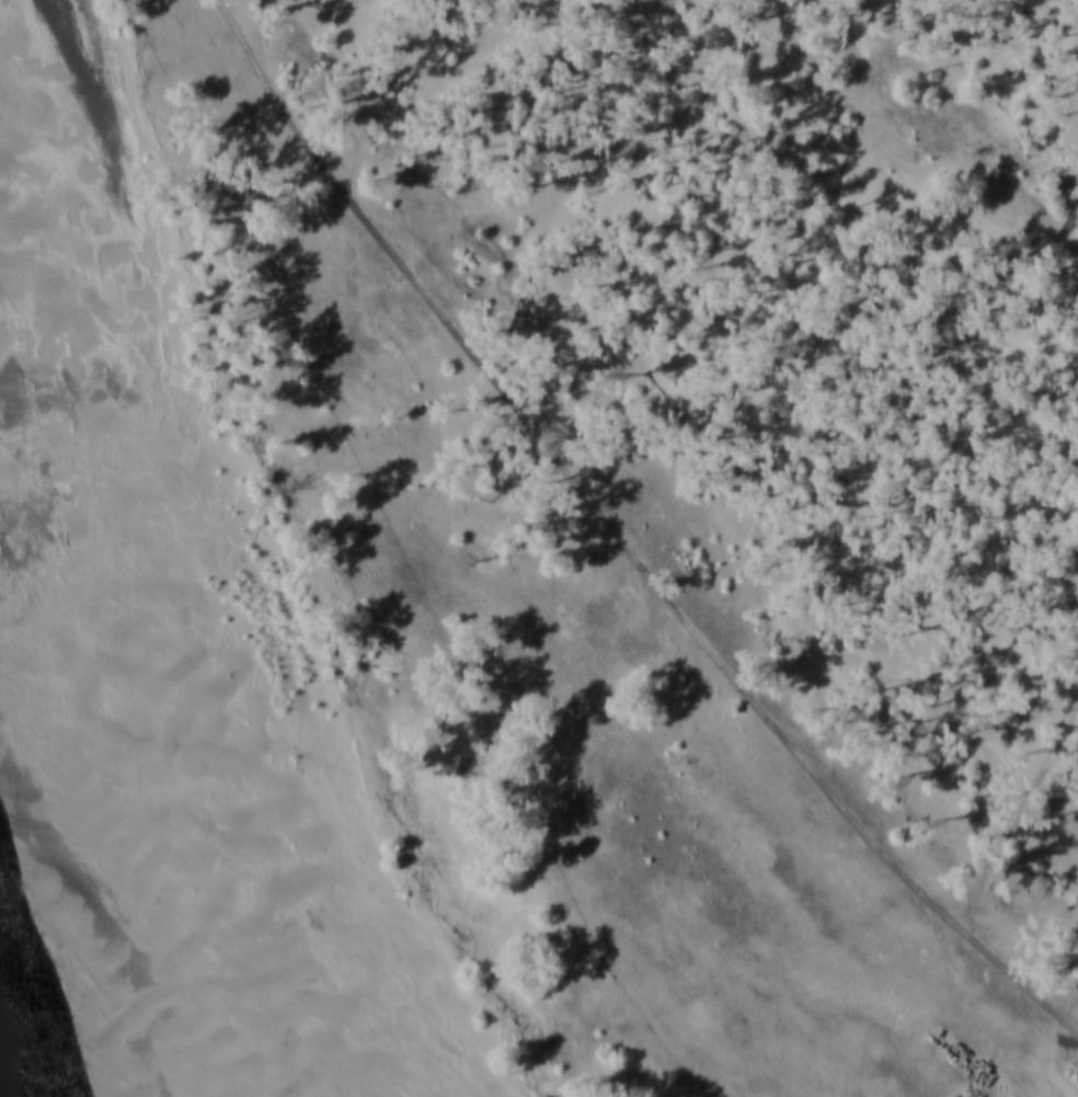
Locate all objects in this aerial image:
road: (284, 111)
road: (621, 544)

